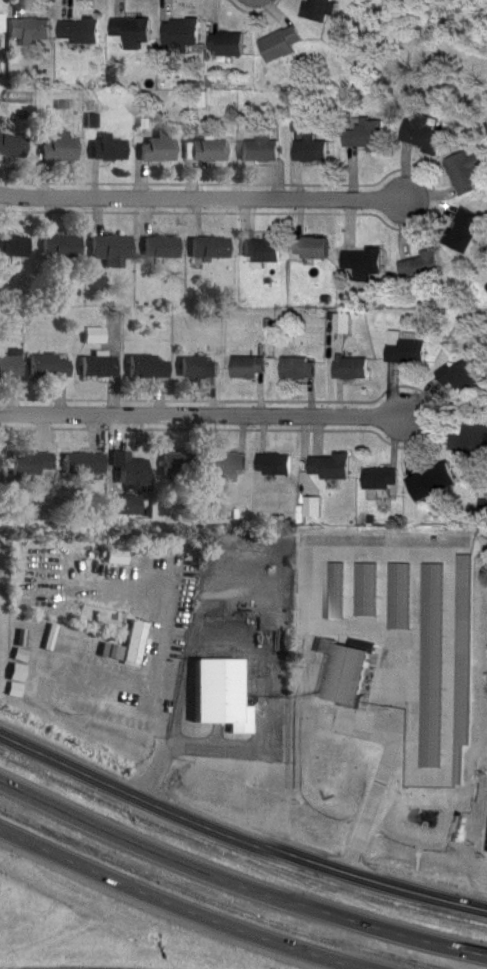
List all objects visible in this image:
building: (323, 10)
building: (3, 22)
building: (32, 30)
building: (133, 30)
building: (81, 32)
building: (183, 33)
building: (284, 44)
building: (229, 45)
building: (351, 104)
building: (426, 134)
building: (367, 136)
building: (16, 146)
building: (65, 149)
building: (115, 149)
building: (164, 149)
building: (264, 149)
building: (313, 150)
building: (215, 151)
building: (469, 173)
road: (201, 202)
building: (468, 231)
building: (16, 246)
building: (65, 248)
building: (166, 248)
building: (215, 248)
building: (315, 248)
building: (116, 251)
building: (265, 251)
building: (365, 262)
building: (425, 268)
building: (408, 350)
building: (14, 366)
building: (54, 366)
building: (103, 367)
building: (152, 368)
building: (203, 368)
building: (251, 368)
building: (301, 369)
building: (355, 370)
building: (465, 380)
road: (199, 418)
building: (473, 437)
building: (38, 464)
building: (88, 465)
building: (182, 465)
building: (277, 465)
building: (231, 466)
building: (333, 467)
building: (136, 474)
building: (384, 480)
building: (436, 483)
building: (130, 506)
building: (316, 507)
building: (124, 555)
building: (141, 643)
building: (348, 675)
building: (228, 695)
road: (163, 697)
road: (382, 775)
road: (239, 836)
road: (237, 884)
road: (173, 905)
road: (78, 968)

